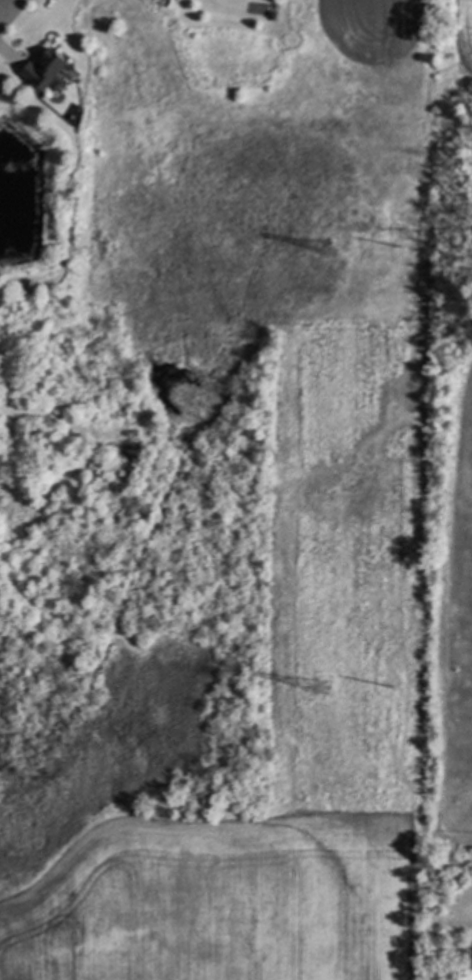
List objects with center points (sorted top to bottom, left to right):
road: (4, 12)
road: (11, 13)
crop: (455, 39)
building: (44, 70)
power tower: (330, 251)
power tower: (324, 687)
crop: (219, 901)

